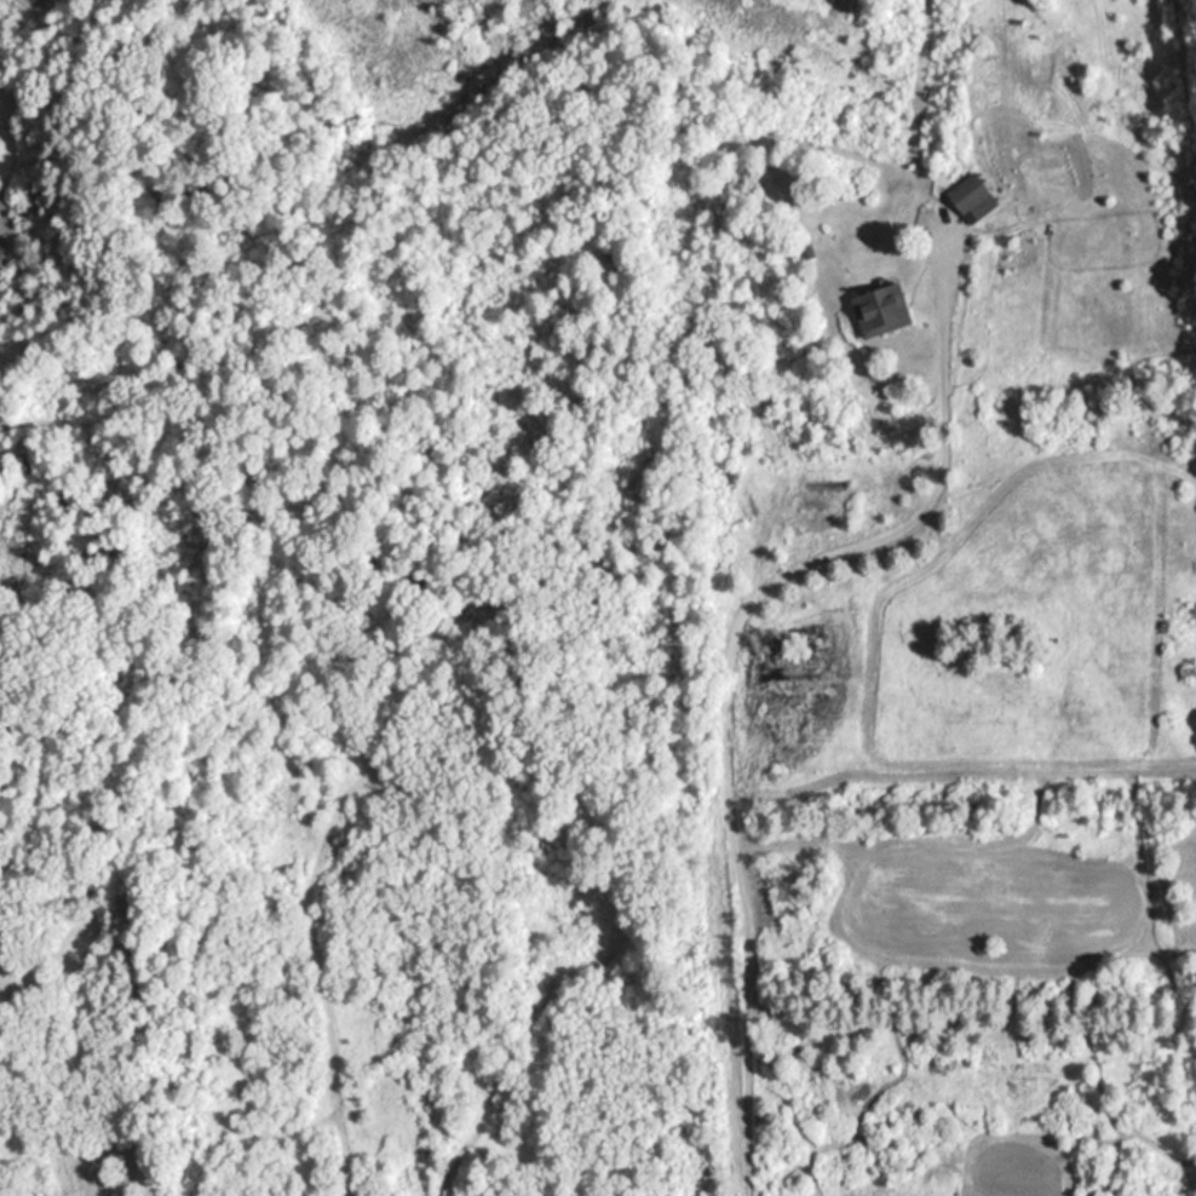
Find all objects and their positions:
building: (970, 195)
building: (804, 248)
building: (879, 307)
road: (728, 656)

